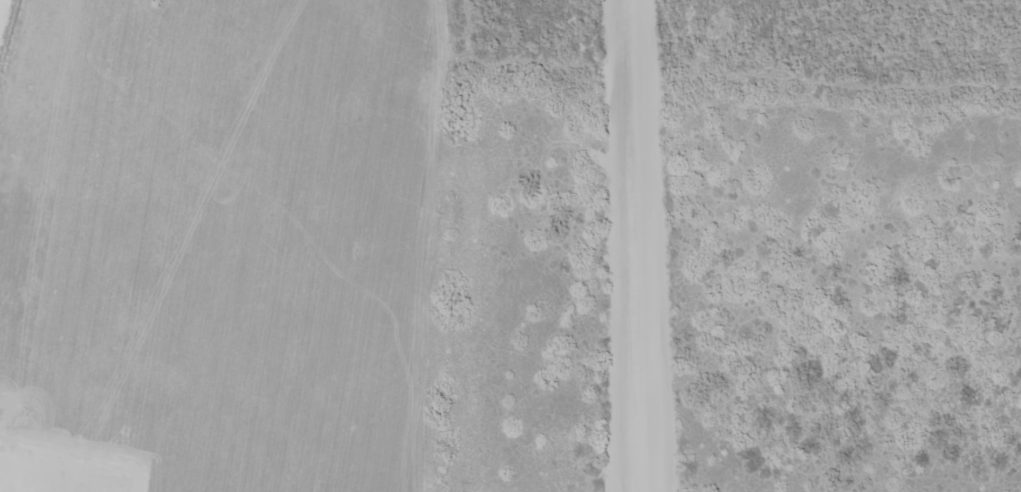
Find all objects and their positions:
road: (565, 124)

